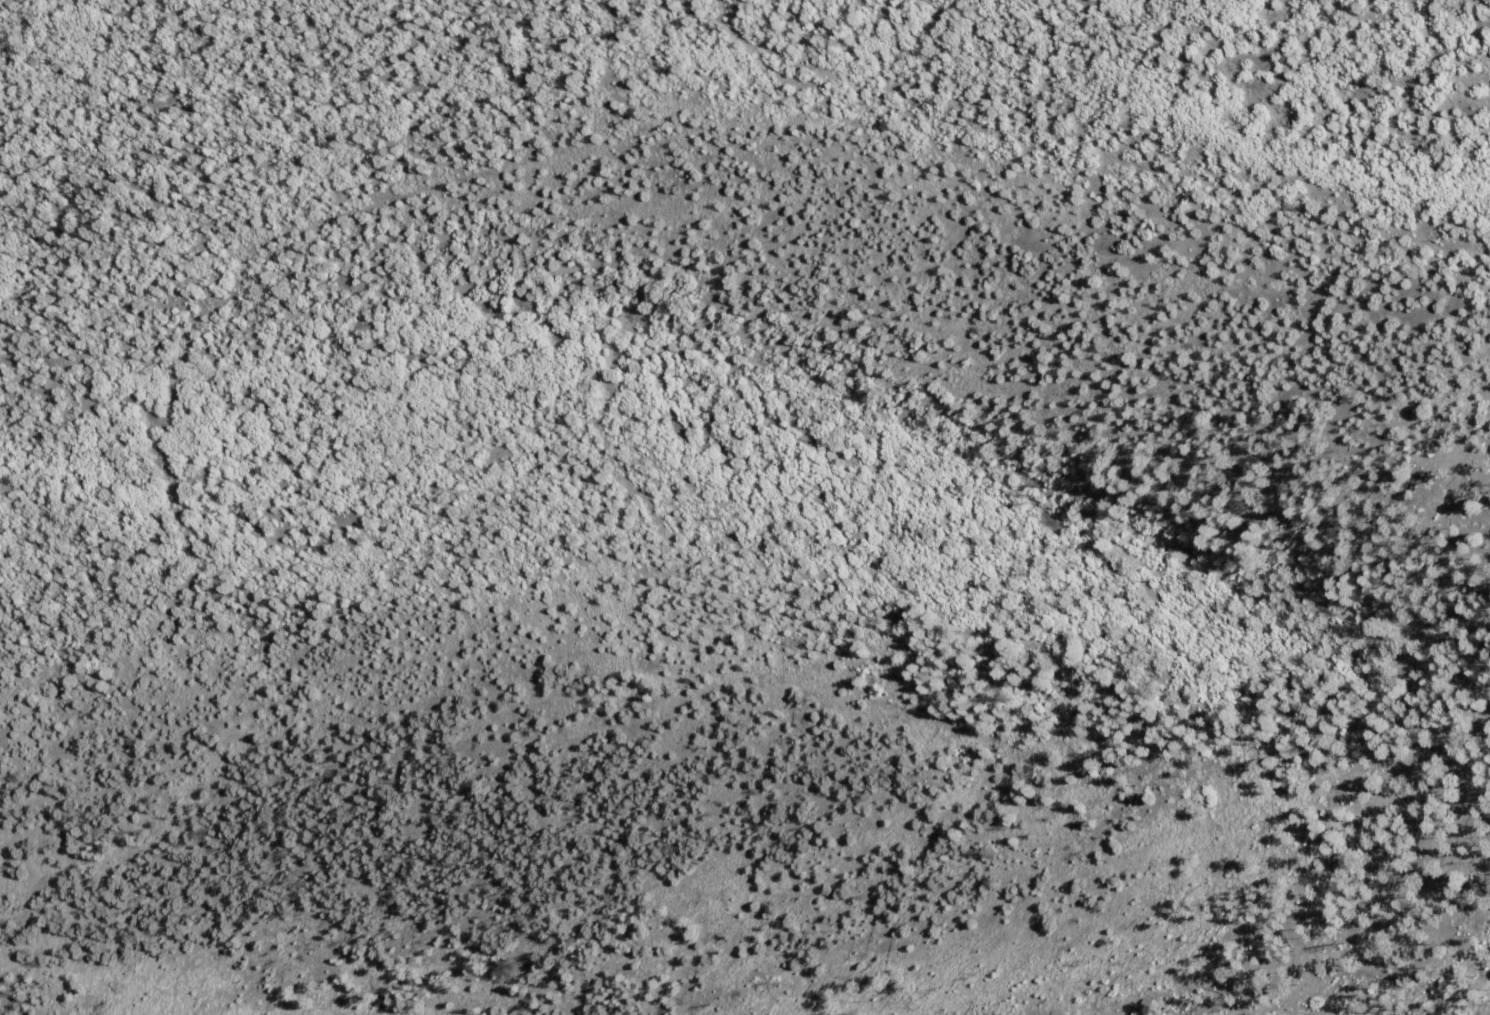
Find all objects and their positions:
road: (1462, 1000)

